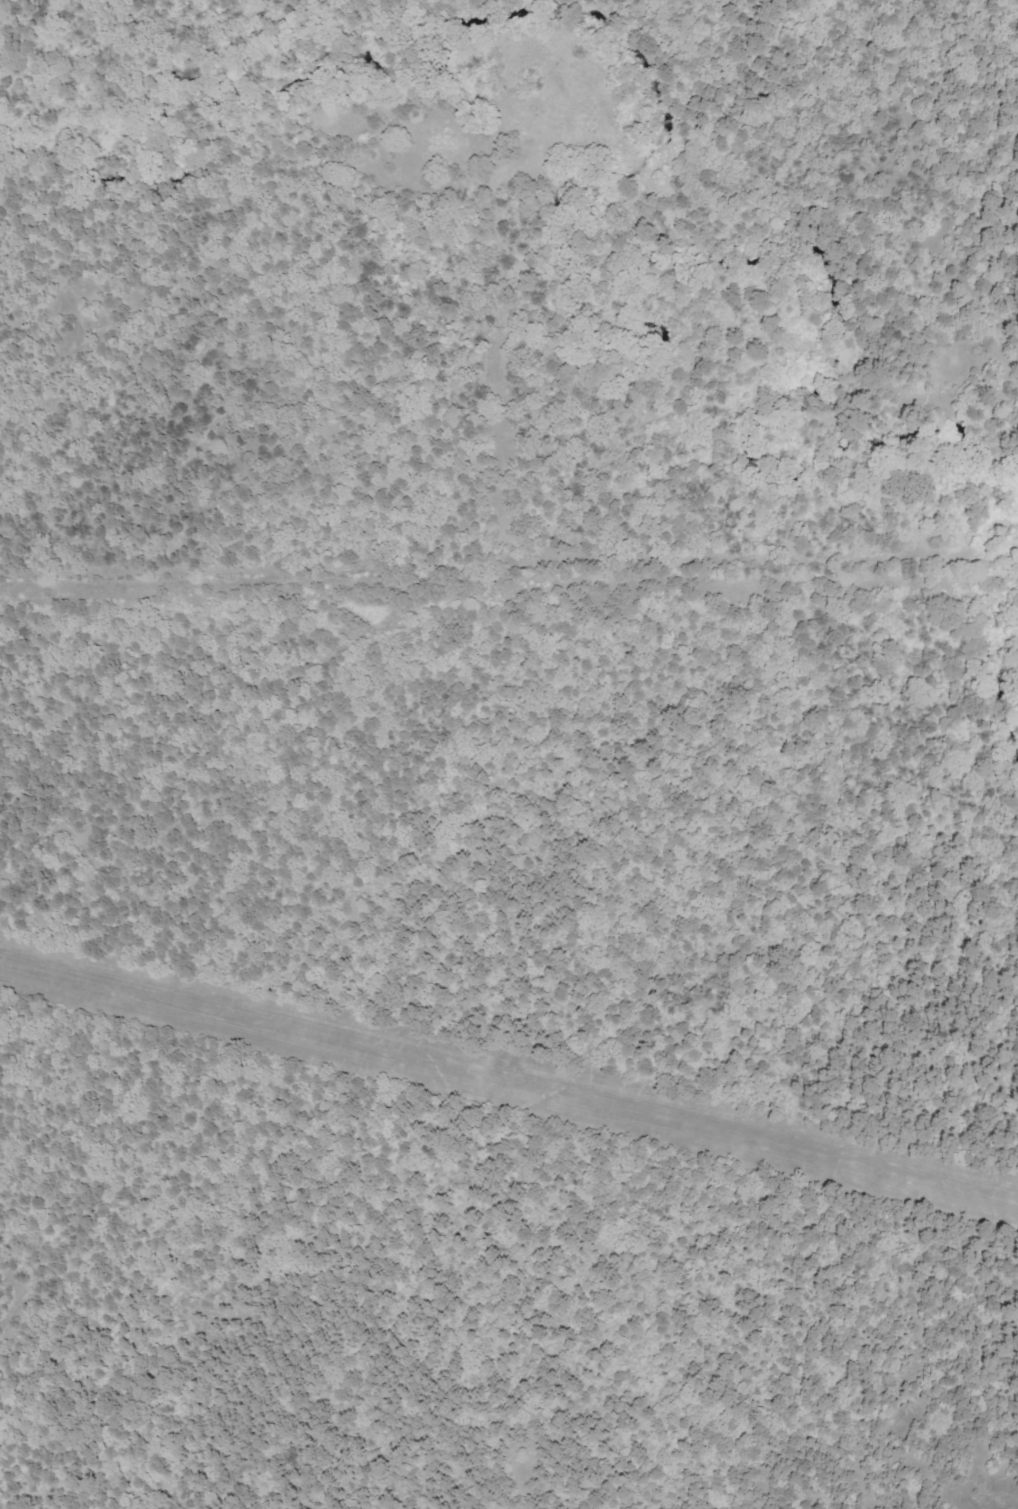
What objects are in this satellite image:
road: (299, 196)
road: (309, 1292)

